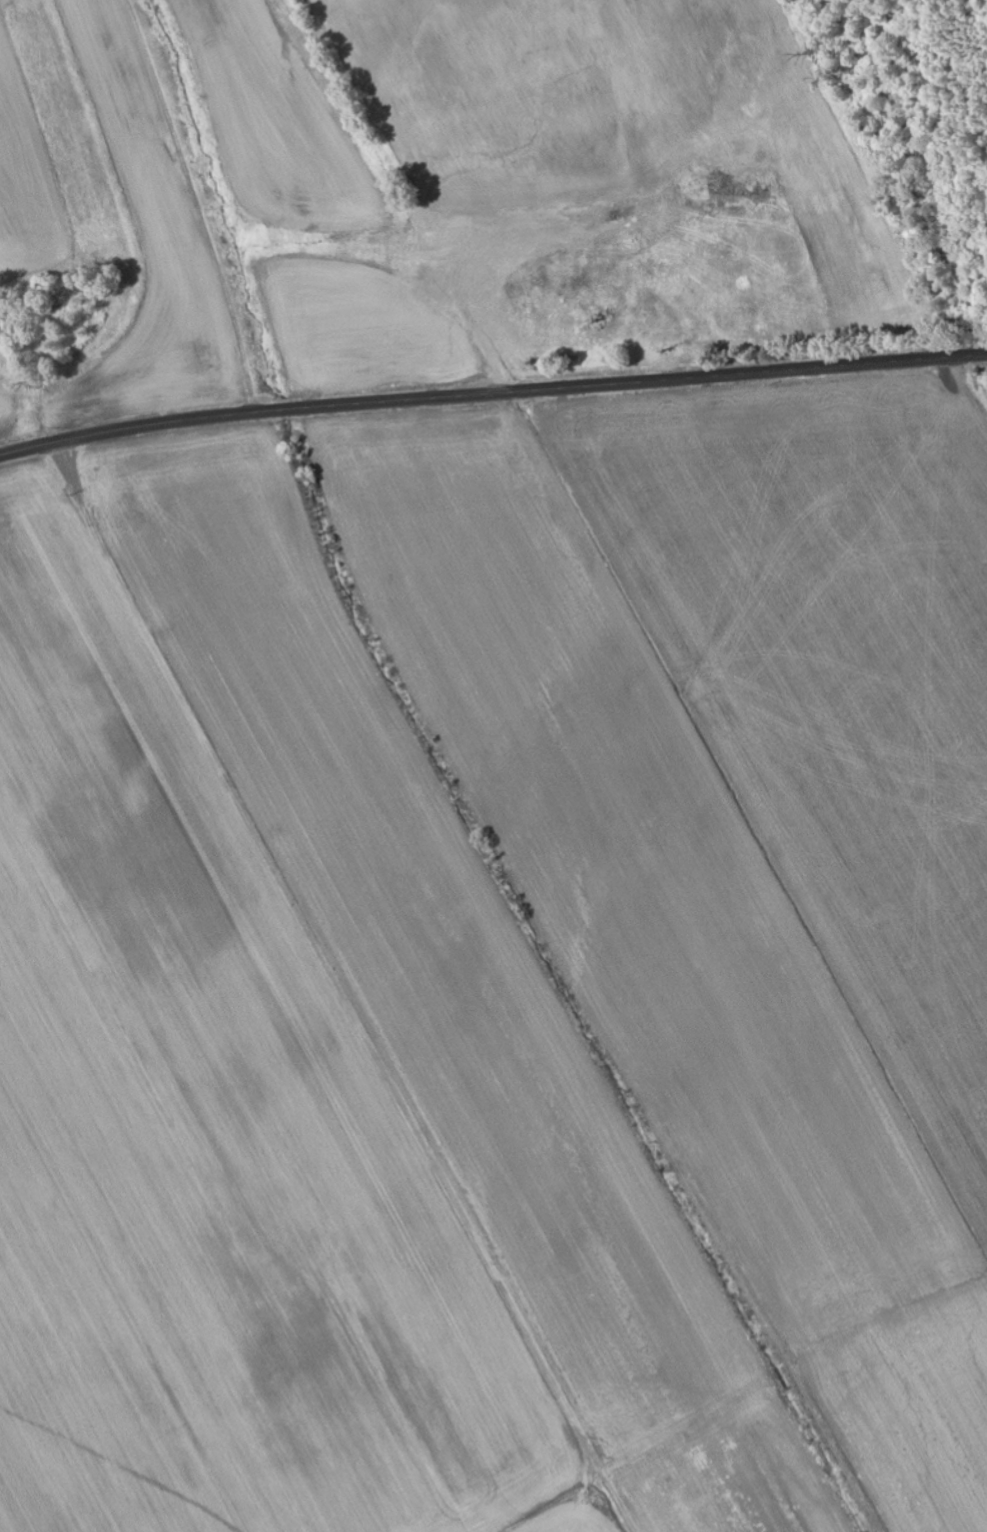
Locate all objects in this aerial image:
road: (191, 206)
road: (491, 396)
road: (16, 399)

